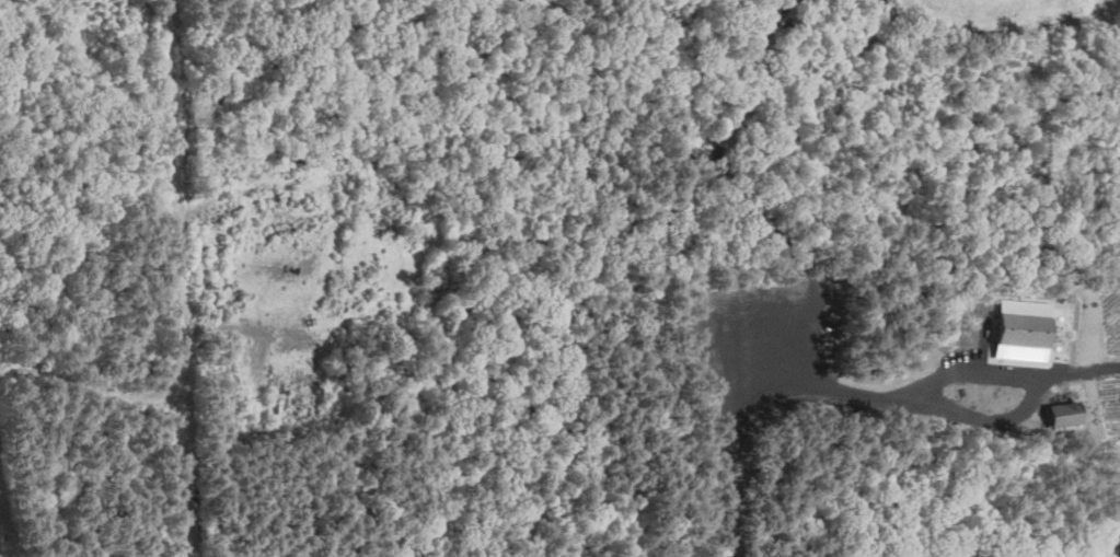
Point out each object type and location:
building: (1115, 142)
building: (693, 146)
building: (1016, 326)
building: (1060, 413)
road: (712, 456)
building: (1115, 500)

